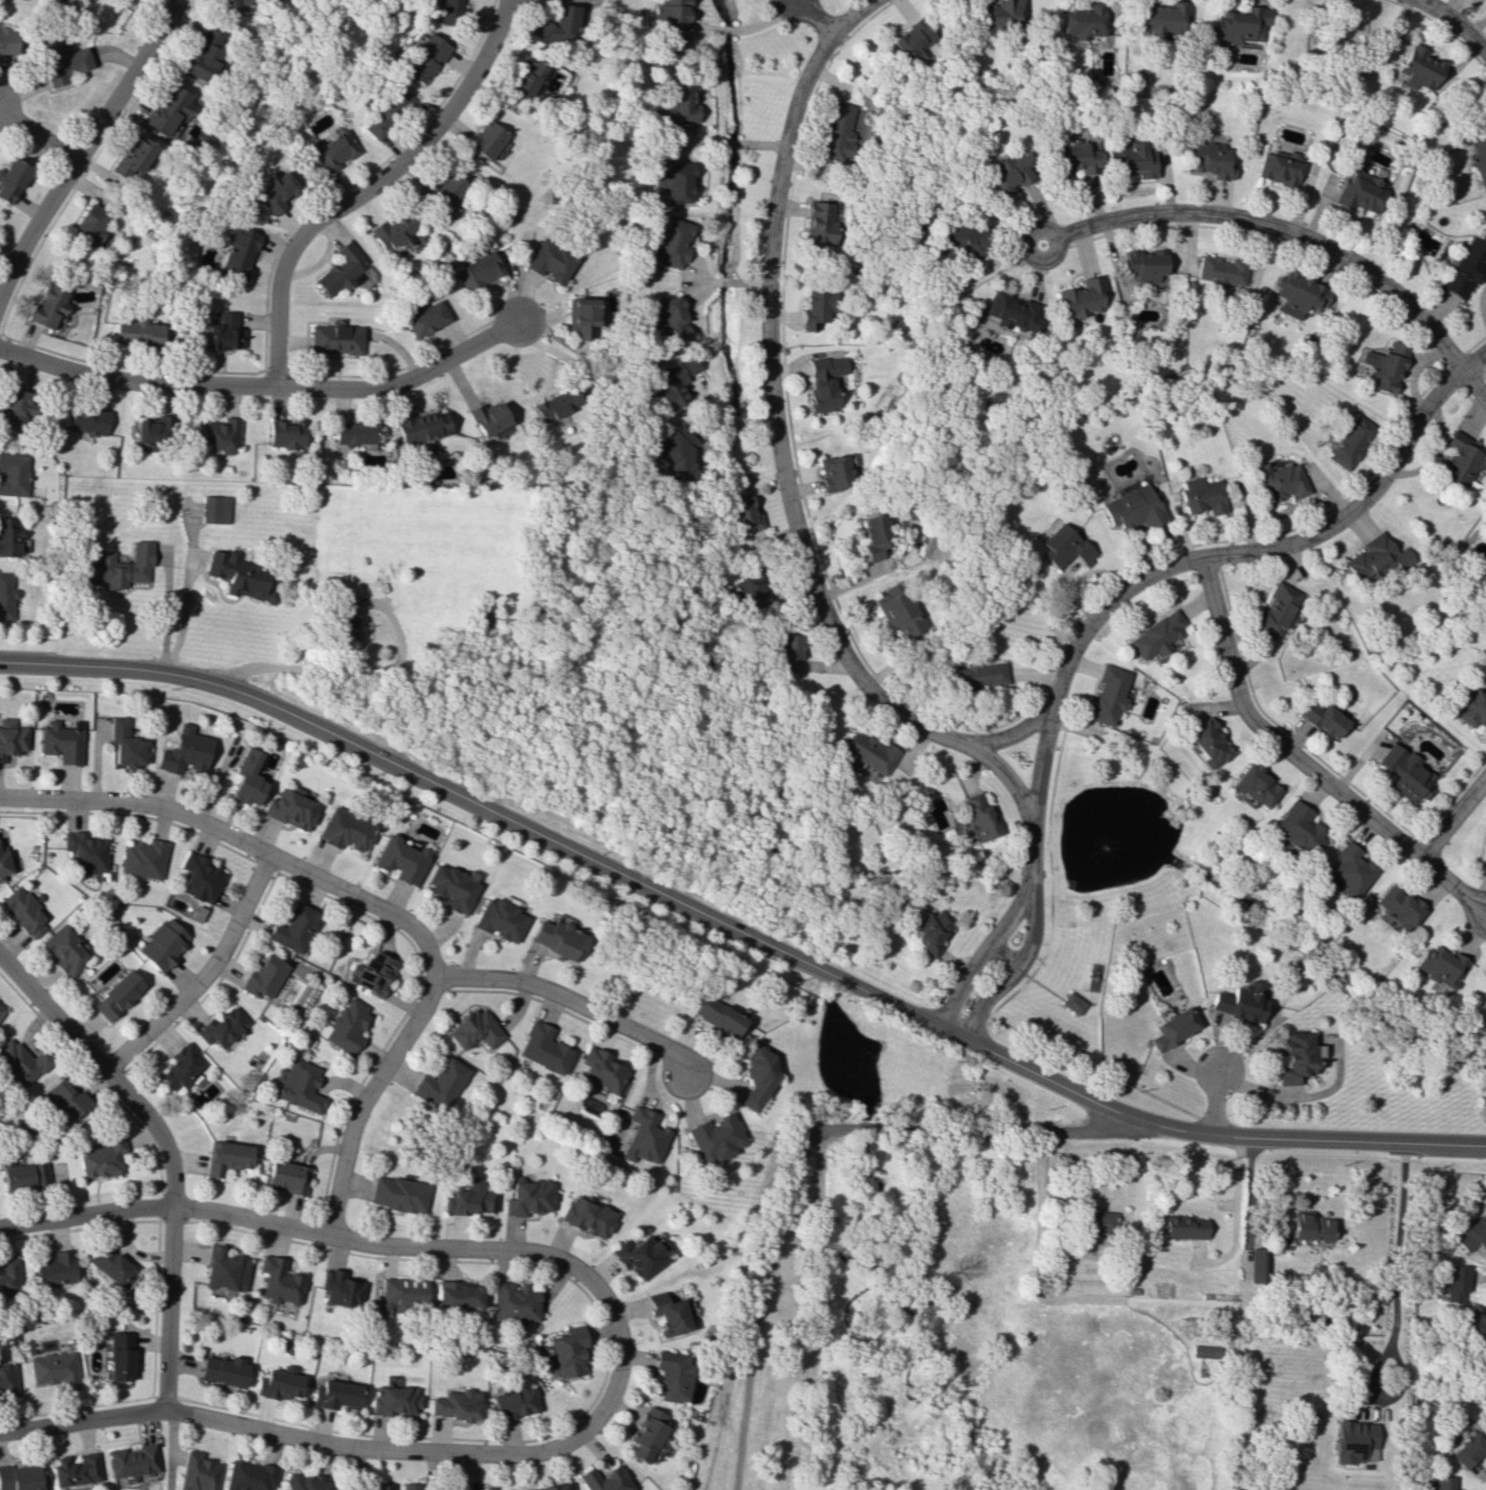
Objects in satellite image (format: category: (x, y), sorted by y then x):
building: (228, 5)
building: (448, 8)
building: (1005, 11)
road: (812, 16)
building: (1161, 17)
building: (670, 20)
building: (1083, 20)
road: (1453, 23)
building: (556, 25)
building: (1240, 25)
road: (741, 27)
building: (908, 39)
building: (8, 41)
building: (203, 56)
building: (426, 58)
building: (63, 63)
building: (1417, 68)
building: (525, 77)
building: (678, 100)
building: (167, 110)
building: (387, 110)
building: (835, 130)
road: (38, 133)
building: (486, 139)
road: (732, 143)
road: (85, 144)
building: (333, 151)
building: (1478, 154)
building: (1075, 158)
building: (1130, 158)
building: (131, 160)
building: (1211, 160)
building: (1279, 168)
building: (1007, 172)
building: (11, 180)
building: (674, 183)
road: (368, 189)
building: (277, 190)
building: (1362, 191)
building: (445, 193)
building: (820, 223)
building: (89, 225)
building: (393, 231)
road: (1294, 231)
building: (957, 239)
building: (671, 242)
building: (239, 252)
building: (550, 261)
building: (1145, 264)
building: (1465, 268)
building: (1222, 270)
building: (478, 271)
road: (727, 281)
building: (1299, 294)
building: (1082, 297)
building: (816, 306)
building: (47, 307)
building: (1012, 309)
building: (581, 316)
building: (424, 317)
building: (669, 318)
building: (137, 331)
building: (225, 332)
building: (335, 339)
building: (1386, 366)
building: (675, 381)
building: (825, 382)
road: (264, 385)
road: (771, 398)
building: (555, 405)
building: (13, 409)
building: (487, 417)
building: (89, 420)
building: (421, 427)
building: (155, 430)
building: (286, 433)
building: (355, 433)
building: (221, 434)
building: (1351, 442)
building: (675, 456)
building: (1460, 461)
building: (839, 471)
building: (13, 473)
building: (1281, 481)
building: (1201, 496)
building: (214, 509)
building: (1133, 509)
building: (744, 515)
building: (875, 536)
building: (9, 537)
building: (1064, 546)
road: (1274, 549)
building: (1375, 557)
building: (121, 567)
building: (238, 575)
crop: (428, 581)
building: (748, 589)
building: (6, 597)
building: (898, 609)
building: (1275, 609)
building: (484, 616)
road: (166, 618)
road: (182, 621)
building: (347, 630)
building: (1156, 636)
building: (787, 652)
road: (339, 672)
building: (1107, 694)
building: (1471, 707)
building: (1323, 719)
road: (1015, 733)
building: (11, 737)
building: (62, 741)
building: (1206, 743)
building: (125, 744)
building: (184, 751)
building: (868, 752)
road: (1302, 763)
building: (1405, 773)
building: (248, 779)
building: (1254, 785)
building: (291, 807)
building: (976, 816)
road: (1032, 816)
road: (1451, 816)
building: (345, 829)
building: (1297, 829)
road: (240, 841)
road: (1029, 842)
building: (85, 851)
building: (1484, 853)
building: (144, 858)
building: (402, 858)
building: (4, 861)
building: (1348, 870)
road: (612, 871)
road: (1026, 872)
building: (199, 877)
building: (452, 887)
building: (1397, 906)
building: (23, 911)
building: (499, 919)
building: (294, 928)
building: (930, 931)
building: (557, 937)
building: (162, 944)
building: (65, 949)
road: (1008, 951)
road: (982, 956)
building: (1439, 966)
road: (1016, 969)
building: (371, 973)
road: (203, 974)
building: (264, 976)
building: (1484, 981)
building: (117, 995)
road: (570, 1001)
building: (1239, 1002)
building: (1071, 1003)
building: (2, 1008)
road: (52, 1013)
building: (716, 1016)
building: (223, 1026)
building: (345, 1027)
building: (1171, 1028)
building: (475, 1029)
building: (543, 1048)
building: (1296, 1057)
building: (21, 1062)
building: (180, 1067)
building: (601, 1070)
building: (755, 1077)
building: (439, 1084)
building: (299, 1085)
building: (66, 1098)
road: (362, 1099)
road: (1215, 1101)
building: (643, 1137)
building: (714, 1138)
road: (1348, 1140)
road: (797, 1154)
building: (101, 1157)
building: (226, 1157)
building: (25, 1176)
building: (286, 1177)
building: (398, 1193)
building: (470, 1198)
building: (528, 1198)
road: (1233, 1212)
building: (587, 1216)
building: (1309, 1226)
building: (1097, 1227)
building: (1184, 1227)
road: (170, 1228)
building: (1471, 1238)
building: (641, 1255)
building: (1259, 1265)
building: (113, 1266)
building: (56, 1269)
building: (225, 1270)
building: (8, 1274)
building: (279, 1281)
building: (1452, 1282)
building: (340, 1289)
building: (399, 1294)
building: (458, 1295)
building: (513, 1302)
road: (1394, 1306)
building: (668, 1313)
building: (1472, 1323)
building: (568, 1351)
building: (1205, 1351)
road: (618, 1353)
building: (120, 1355)
building: (54, 1369)
building: (224, 1371)
building: (672, 1376)
building: (8, 1381)
building: (280, 1383)
building: (335, 1394)
building: (395, 1400)
building: (514, 1402)
building: (456, 1405)
building: (1353, 1440)
building: (1468, 1450)
building: (133, 1461)
building: (76, 1469)
building: (198, 1472)
building: (249, 1476)
building: (19, 1477)
building: (605, 1480)
building: (305, 1482)
building: (1444, 1482)
building: (382, 1486)
building: (409, 1486)
building: (548, 1487)
building: (488, 1488)

